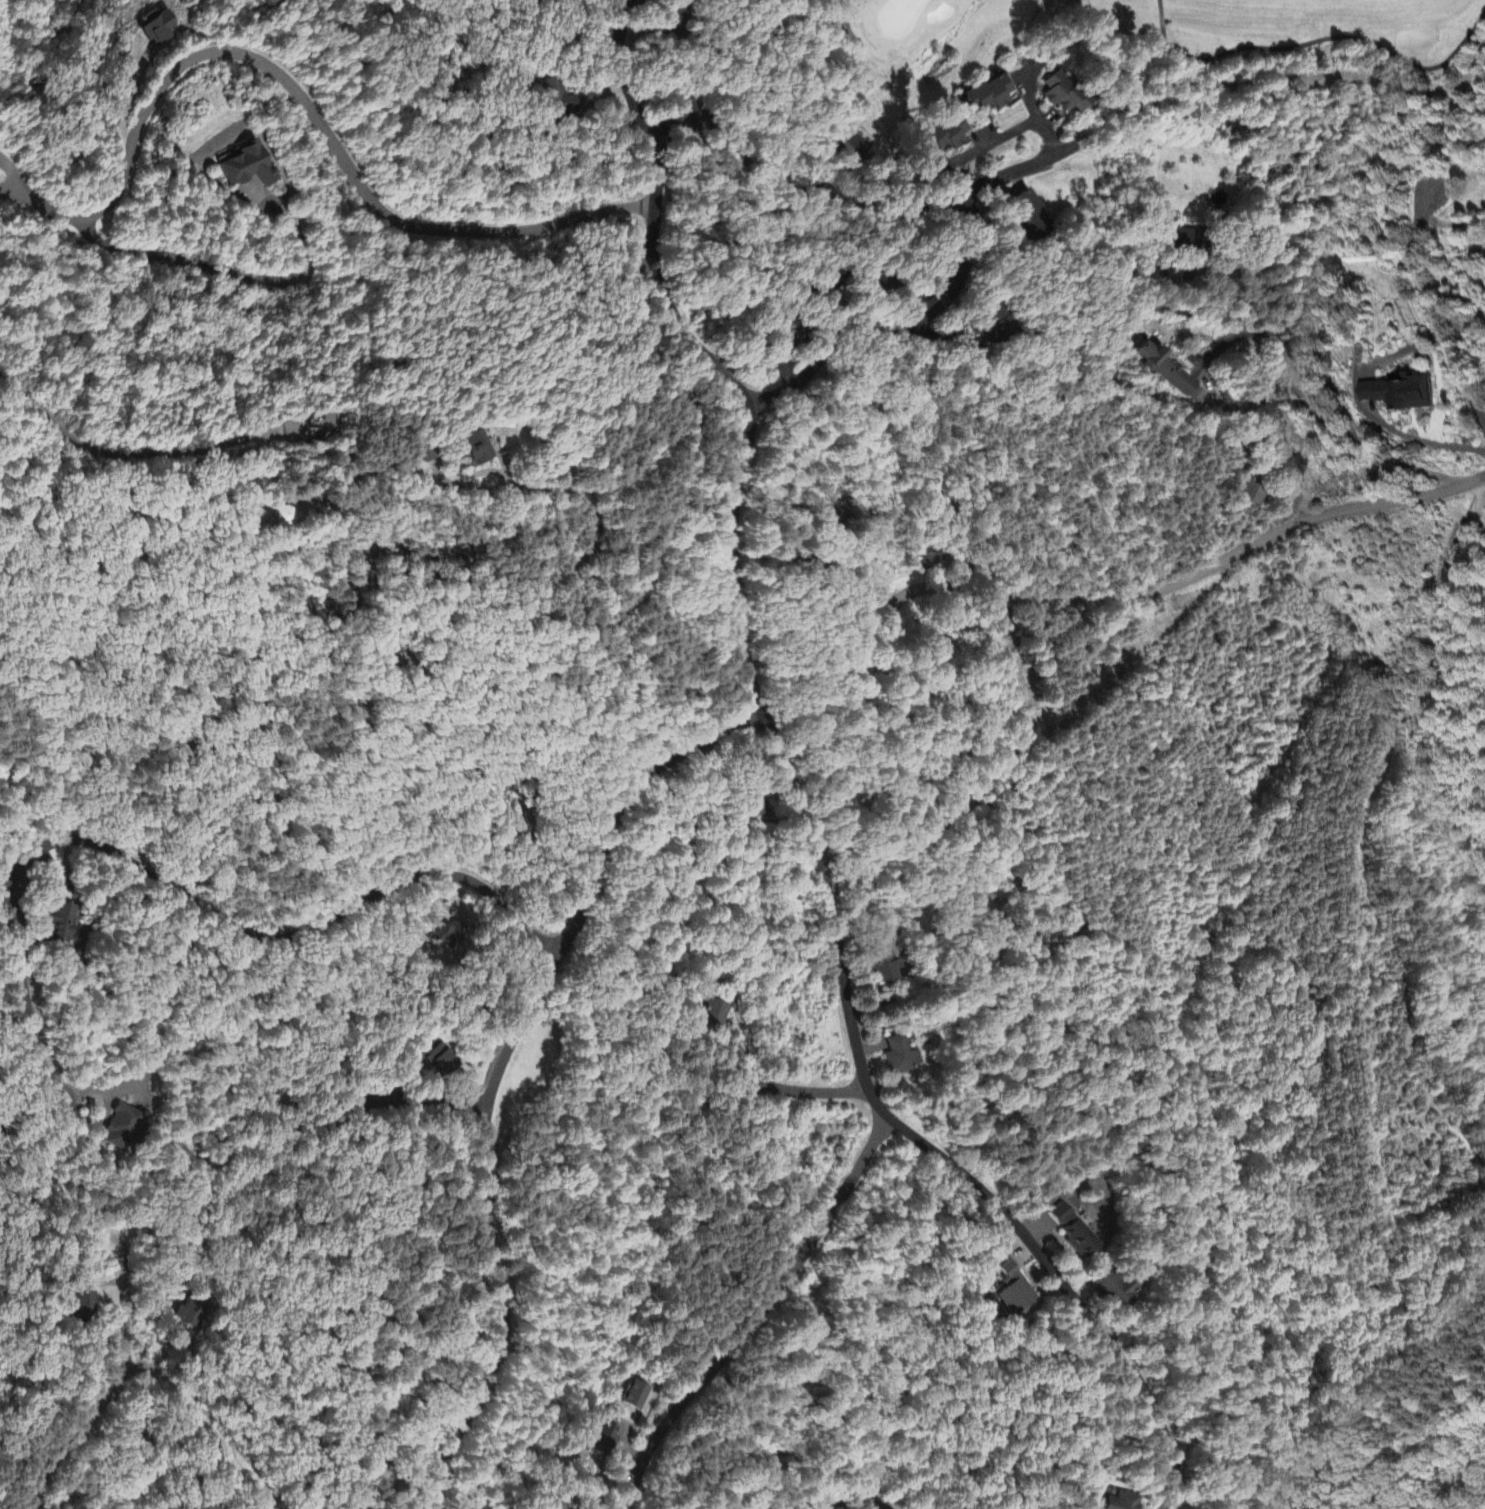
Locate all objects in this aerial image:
building: (672, 16)
building: (158, 30)
park: (1202, 32)
road: (296, 92)
building: (1064, 93)
building: (990, 95)
building: (555, 99)
building: (683, 115)
road: (1010, 132)
building: (842, 147)
building: (246, 167)
road: (954, 202)
building: (1026, 216)
road: (1449, 227)
building: (1187, 240)
road: (231, 270)
road: (1429, 312)
building: (989, 323)
road: (887, 327)
building: (789, 330)
road: (1296, 361)
building: (1166, 369)
road: (1331, 384)
building: (1398, 394)
building: (1197, 396)
road: (1360, 411)
building: (472, 450)
building: (1253, 493)
building: (255, 517)
building: (283, 517)
building: (928, 557)
road: (1053, 598)
road: (788, 794)
building: (752, 807)
building: (62, 926)
building: (444, 935)
road: (276, 938)
building: (882, 968)
road: (23, 1007)
building: (712, 1012)
building: (901, 1056)
building: (438, 1058)
road: (502, 1071)
road: (796, 1092)
road: (410, 1110)
building: (122, 1128)
building: (1074, 1233)
building: (1116, 1287)
building: (1014, 1291)
building: (85, 1305)
road: (122, 1306)
building: (189, 1313)
road: (758, 1315)
building: (637, 1395)
road: (207, 1429)
road: (75, 1439)
building: (605, 1439)
building: (1123, 1501)
road: (840, 1506)

